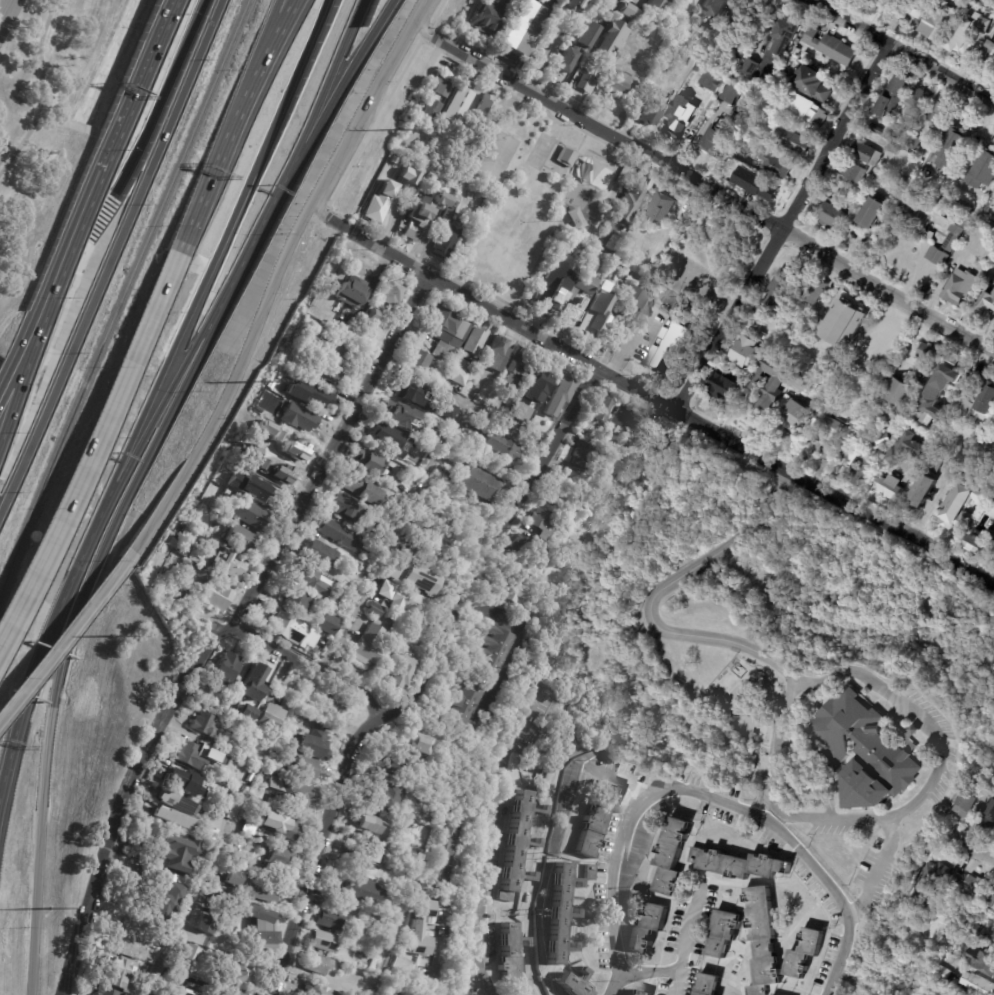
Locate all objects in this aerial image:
building: (576, 2)
building: (692, 2)
building: (883, 3)
building: (658, 4)
building: (912, 4)
road: (9, 5)
road: (10, 5)
road: (420, 7)
building: (715, 7)
building: (914, 8)
building: (624, 10)
building: (493, 15)
road: (3, 16)
building: (741, 20)
building: (938, 22)
building: (713, 24)
building: (526, 25)
building: (784, 31)
building: (967, 33)
building: (609, 37)
road: (155, 45)
building: (832, 46)
road: (262, 47)
road: (271, 47)
building: (578, 47)
building: (796, 50)
road: (902, 50)
building: (808, 55)
building: (989, 55)
building: (737, 56)
building: (747, 66)
building: (694, 68)
road: (329, 76)
road: (347, 76)
building: (587, 76)
building: (708, 81)
building: (618, 82)
building: (814, 82)
building: (444, 84)
road: (42, 90)
building: (731, 93)
building: (895, 93)
road: (631, 95)
building: (668, 95)
road: (164, 97)
building: (766, 99)
building: (919, 101)
building: (458, 105)
road: (364, 106)
building: (486, 110)
building: (431, 111)
building: (652, 111)
building: (812, 111)
building: (941, 113)
building: (681, 116)
building: (875, 128)
building: (720, 136)
building: (888, 137)
building: (796, 141)
building: (906, 149)
building: (948, 152)
building: (867, 153)
building: (564, 156)
building: (778, 164)
building: (983, 170)
building: (875, 172)
building: (855, 173)
road: (211, 174)
building: (596, 175)
building: (729, 175)
building: (407, 176)
building: (904, 180)
road: (700, 186)
building: (766, 188)
building: (917, 193)
park: (530, 196)
building: (378, 202)
building: (630, 203)
building: (943, 205)
building: (662, 206)
building: (451, 210)
building: (423, 211)
building: (953, 211)
building: (873, 212)
road: (83, 214)
building: (835, 214)
building: (915, 217)
building: (976, 224)
road: (781, 226)
road: (341, 227)
building: (957, 233)
building: (448, 238)
road: (219, 247)
building: (575, 247)
building: (589, 254)
building: (938, 256)
road: (111, 257)
road: (240, 271)
building: (586, 278)
building: (552, 280)
building: (605, 286)
building: (961, 286)
building: (393, 291)
building: (815, 291)
building: (352, 292)
building: (927, 292)
building: (777, 294)
building: (987, 297)
railway: (122, 300)
building: (633, 301)
building: (596, 313)
building: (368, 322)
building: (842, 323)
building: (445, 332)
road: (631, 340)
building: (473, 341)
building: (665, 342)
building: (321, 343)
building: (742, 351)
building: (925, 352)
building: (494, 353)
building: (421, 358)
road: (16, 368)
building: (924, 369)
building: (326, 371)
building: (514, 371)
building: (455, 376)
building: (770, 381)
road: (233, 382)
building: (720, 382)
building: (937, 388)
building: (534, 389)
road: (17, 391)
building: (894, 392)
building: (412, 394)
building: (559, 394)
building: (313, 395)
building: (986, 398)
road: (468, 405)
building: (601, 410)
building: (447, 411)
building: (790, 413)
building: (618, 416)
road: (686, 416)
building: (296, 417)
building: (401, 419)
building: (993, 419)
building: (890, 422)
building: (993, 422)
building: (957, 423)
building: (480, 426)
building: (827, 429)
building: (382, 434)
building: (434, 434)
building: (657, 437)
building: (879, 440)
road: (141, 441)
building: (499, 445)
road: (93, 446)
building: (905, 448)
building: (287, 451)
building: (844, 451)
road: (332, 452)
building: (602, 453)
building: (581, 456)
building: (365, 461)
building: (934, 465)
building: (860, 466)
road: (142, 470)
building: (950, 473)
building: (414, 478)
building: (476, 482)
building: (886, 487)
building: (359, 488)
building: (921, 490)
building: (254, 494)
building: (224, 497)
building: (993, 501)
building: (958, 507)
building: (346, 508)
road: (517, 512)
building: (258, 519)
building: (542, 525)
building: (993, 526)
building: (447, 532)
building: (338, 535)
building: (380, 537)
road: (396, 538)
building: (243, 539)
building: (974, 543)
building: (318, 554)
building: (433, 555)
building: (230, 564)
building: (185, 573)
building: (335, 576)
building: (421, 578)
building: (308, 579)
building: (386, 583)
building: (356, 589)
building: (515, 589)
building: (188, 590)
building: (309, 595)
building: (216, 596)
road: (651, 597)
building: (293, 600)
building: (331, 601)
building: (416, 604)
building: (374, 610)
road: (206, 620)
building: (284, 625)
building: (327, 625)
road: (65, 634)
building: (401, 635)
building: (317, 639)
road: (528, 641)
road: (45, 645)
building: (366, 646)
building: (491, 651)
building: (392, 652)
road: (306, 662)
building: (227, 669)
building: (402, 673)
building: (256, 684)
road: (415, 692)
road: (890, 699)
building: (326, 702)
building: (464, 702)
building: (731, 709)
building: (247, 713)
building: (271, 717)
building: (206, 725)
road: (982, 729)
building: (751, 736)
building: (417, 744)
building: (313, 745)
building: (865, 751)
building: (194, 754)
building: (386, 762)
building: (302, 767)
road: (45, 768)
building: (988, 774)
road: (618, 778)
building: (180, 781)
building: (245, 789)
building: (288, 792)
building: (380, 797)
road: (703, 799)
building: (254, 801)
road: (122, 802)
building: (969, 802)
building: (176, 804)
building: (172, 818)
building: (988, 818)
road: (550, 820)
building: (596, 821)
building: (280, 824)
building: (370, 826)
building: (212, 827)
building: (249, 828)
road: (956, 834)
road: (491, 842)
building: (444, 845)
building: (519, 845)
road: (320, 850)
building: (175, 853)
building: (365, 856)
building: (420, 856)
building: (671, 856)
building: (279, 857)
road: (881, 857)
building: (237, 861)
building: (736, 864)
building: (589, 873)
building: (954, 878)
building: (234, 879)
building: (929, 883)
building: (974, 885)
building: (163, 887)
building: (359, 891)
building: (261, 892)
building: (989, 900)
building: (167, 903)
building: (559, 913)
building: (329, 921)
road: (183, 922)
building: (205, 927)
road: (440, 928)
building: (647, 928)
building: (975, 929)
building: (127, 931)
road: (396, 932)
building: (721, 933)
building: (265, 935)
building: (993, 935)
building: (993, 937)
building: (760, 939)
building: (319, 942)
building: (408, 951)
road: (679, 951)
building: (513, 952)
building: (803, 953)
building: (191, 954)
building: (366, 954)
building: (979, 959)
building: (314, 964)
building: (939, 973)
building: (242, 975)
road: (674, 976)
building: (122, 978)
building: (574, 984)
building: (977, 984)
building: (707, 985)
building: (174, 990)
building: (314, 990)
building: (231, 991)
building: (109, 992)
building: (638, 993)
building: (388, 994)

